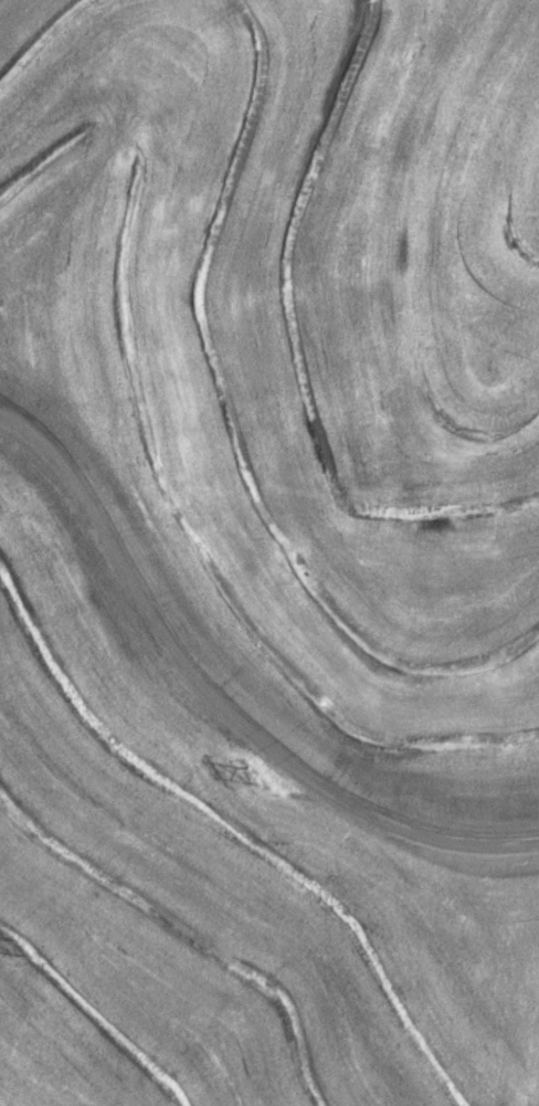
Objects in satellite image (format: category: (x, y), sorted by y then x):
power tower: (249, 777)
power tower: (20, 947)

